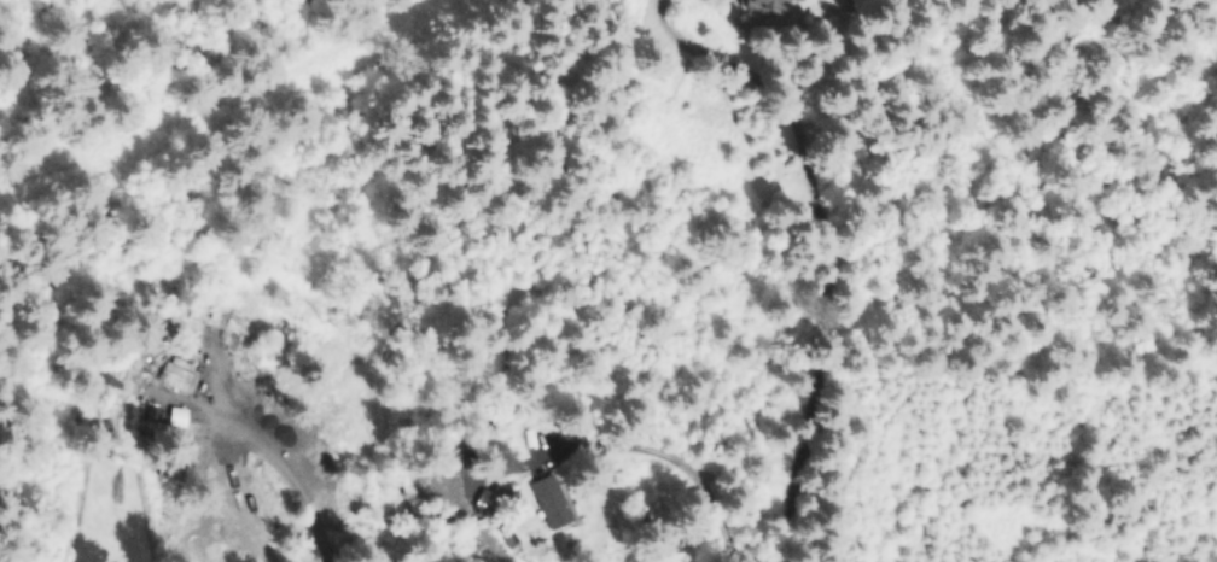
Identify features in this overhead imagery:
building: (769, 5)
road: (721, 65)
road: (819, 347)
building: (551, 505)

